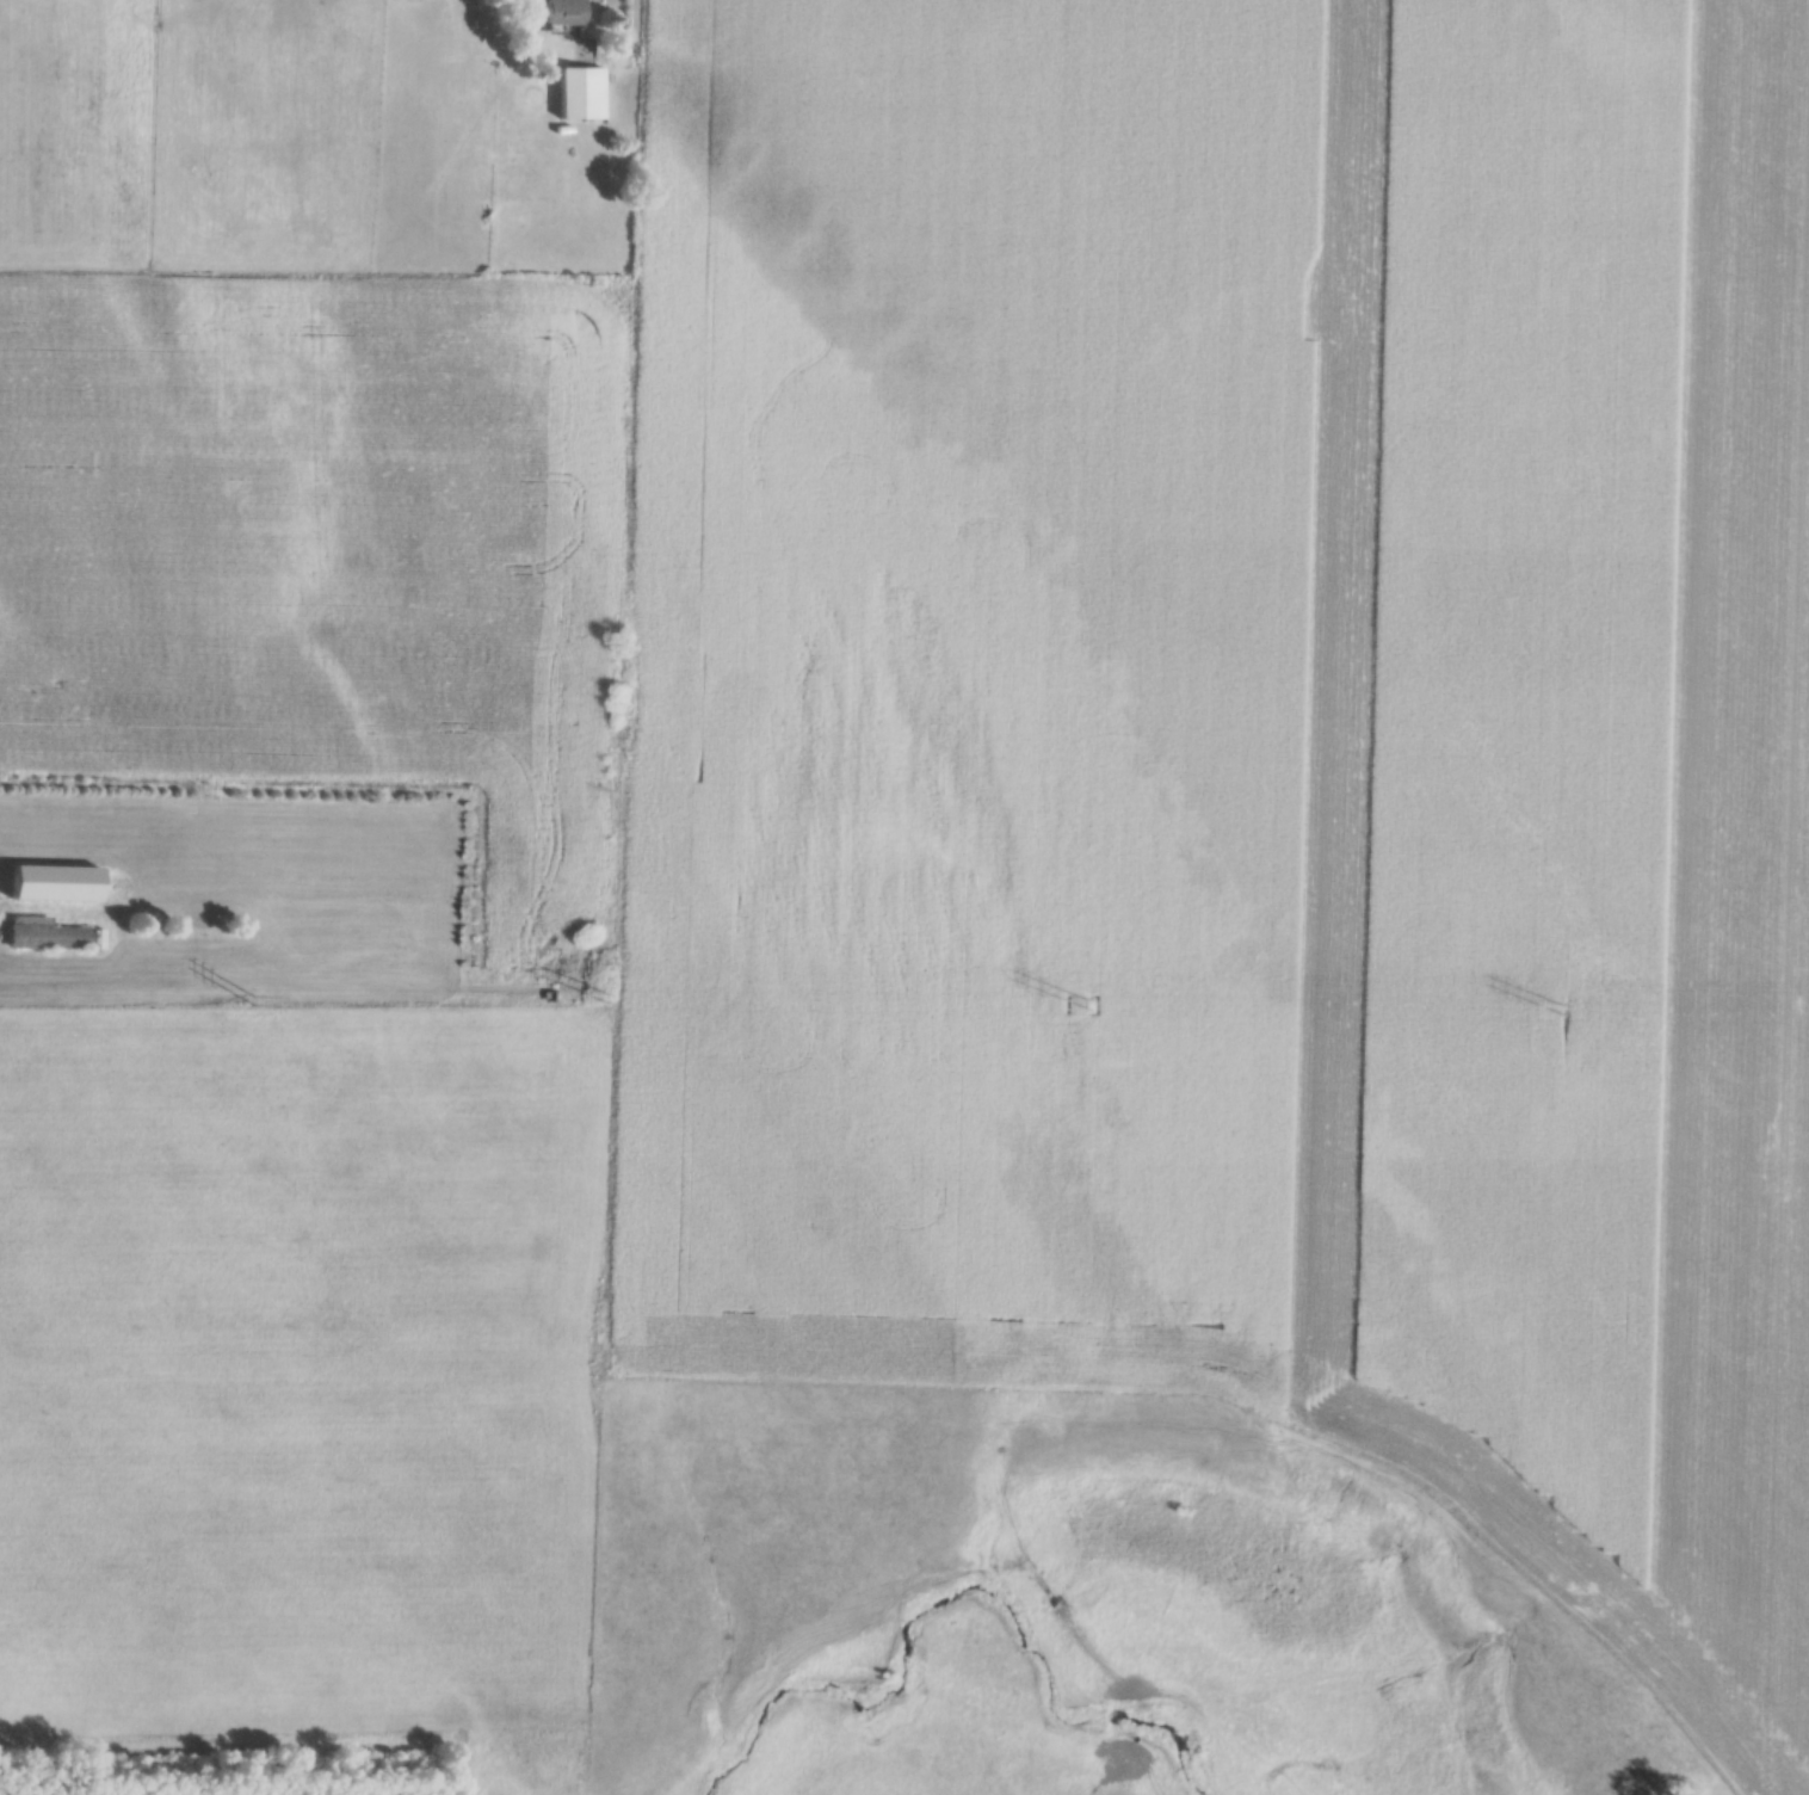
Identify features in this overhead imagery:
power tower: (252, 1001)
power tower: (611, 1001)
power tower: (1088, 1005)
power tower: (1564, 1011)

